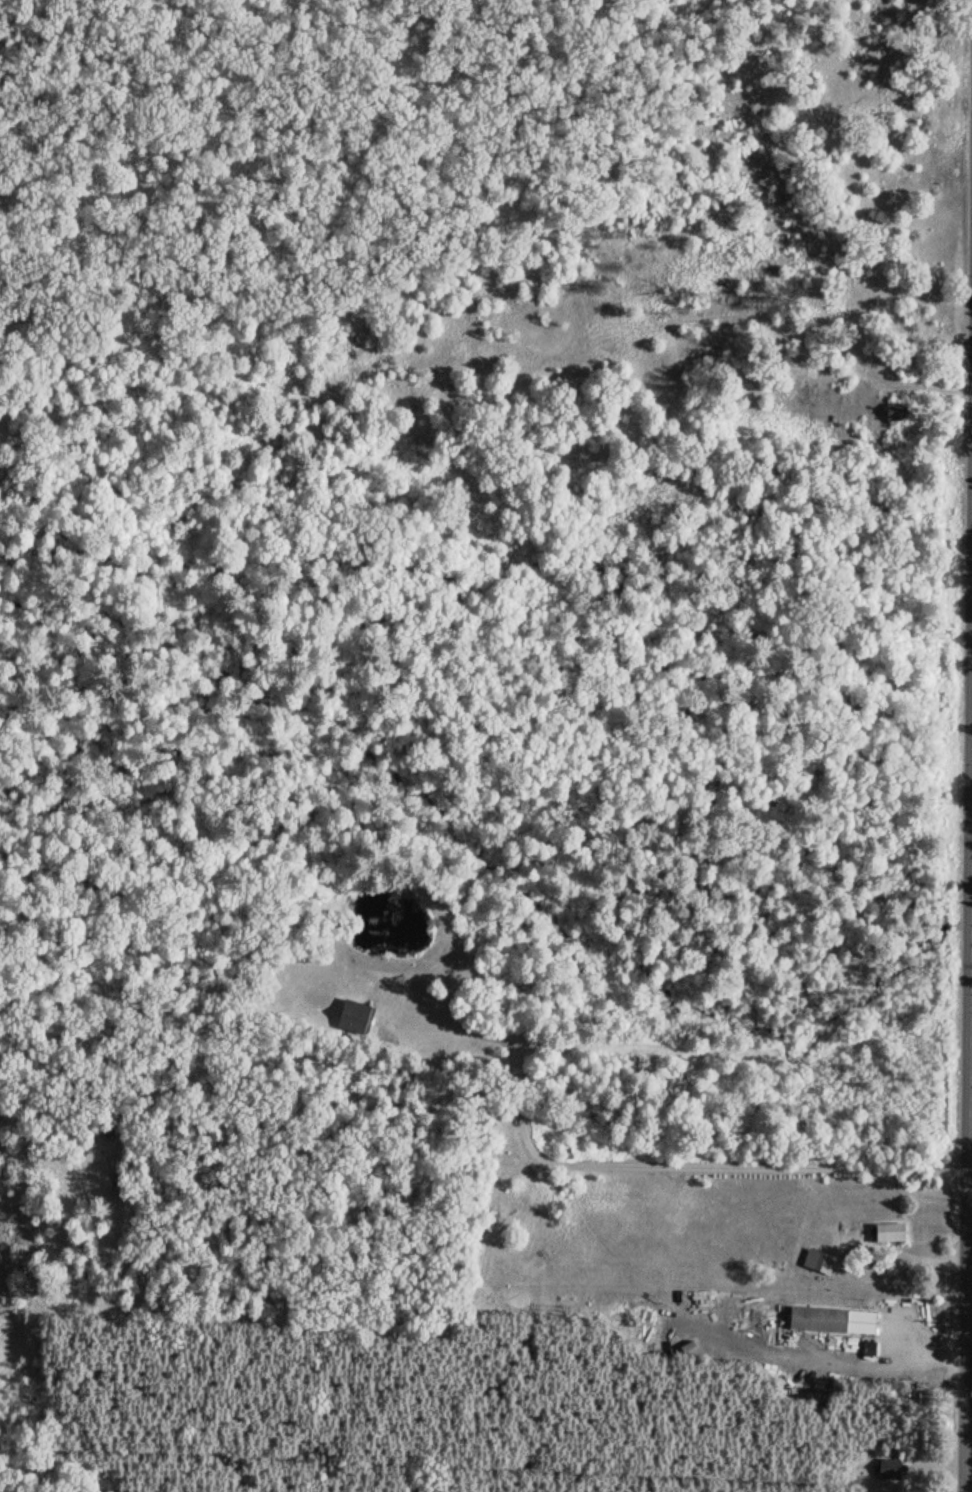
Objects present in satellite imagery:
building: (893, 410)
building: (355, 1014)
road: (627, 1162)
building: (887, 1230)
building: (832, 1318)
road: (342, 1324)
road: (971, 1392)
road: (971, 1418)
building: (889, 1465)

